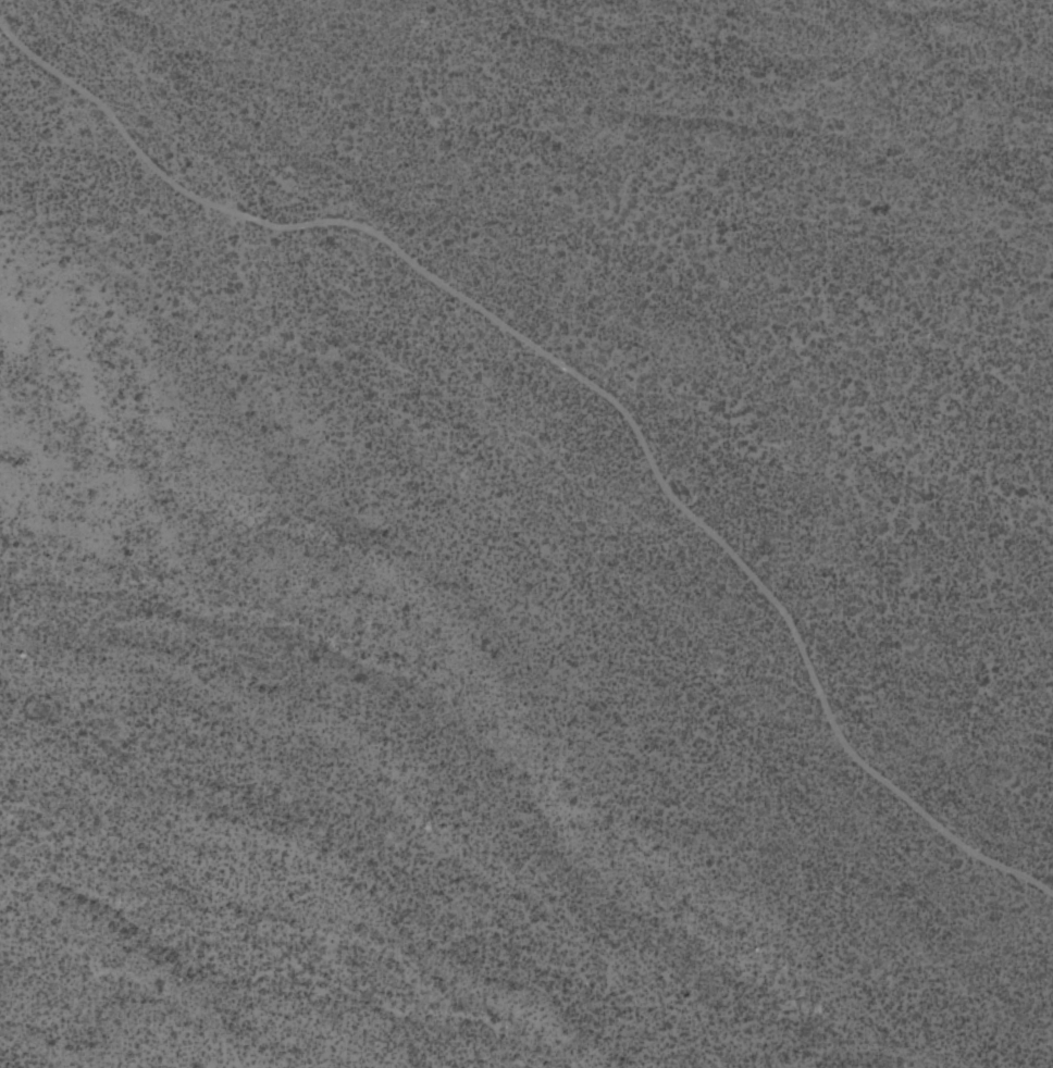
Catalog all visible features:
road: (586, 387)

